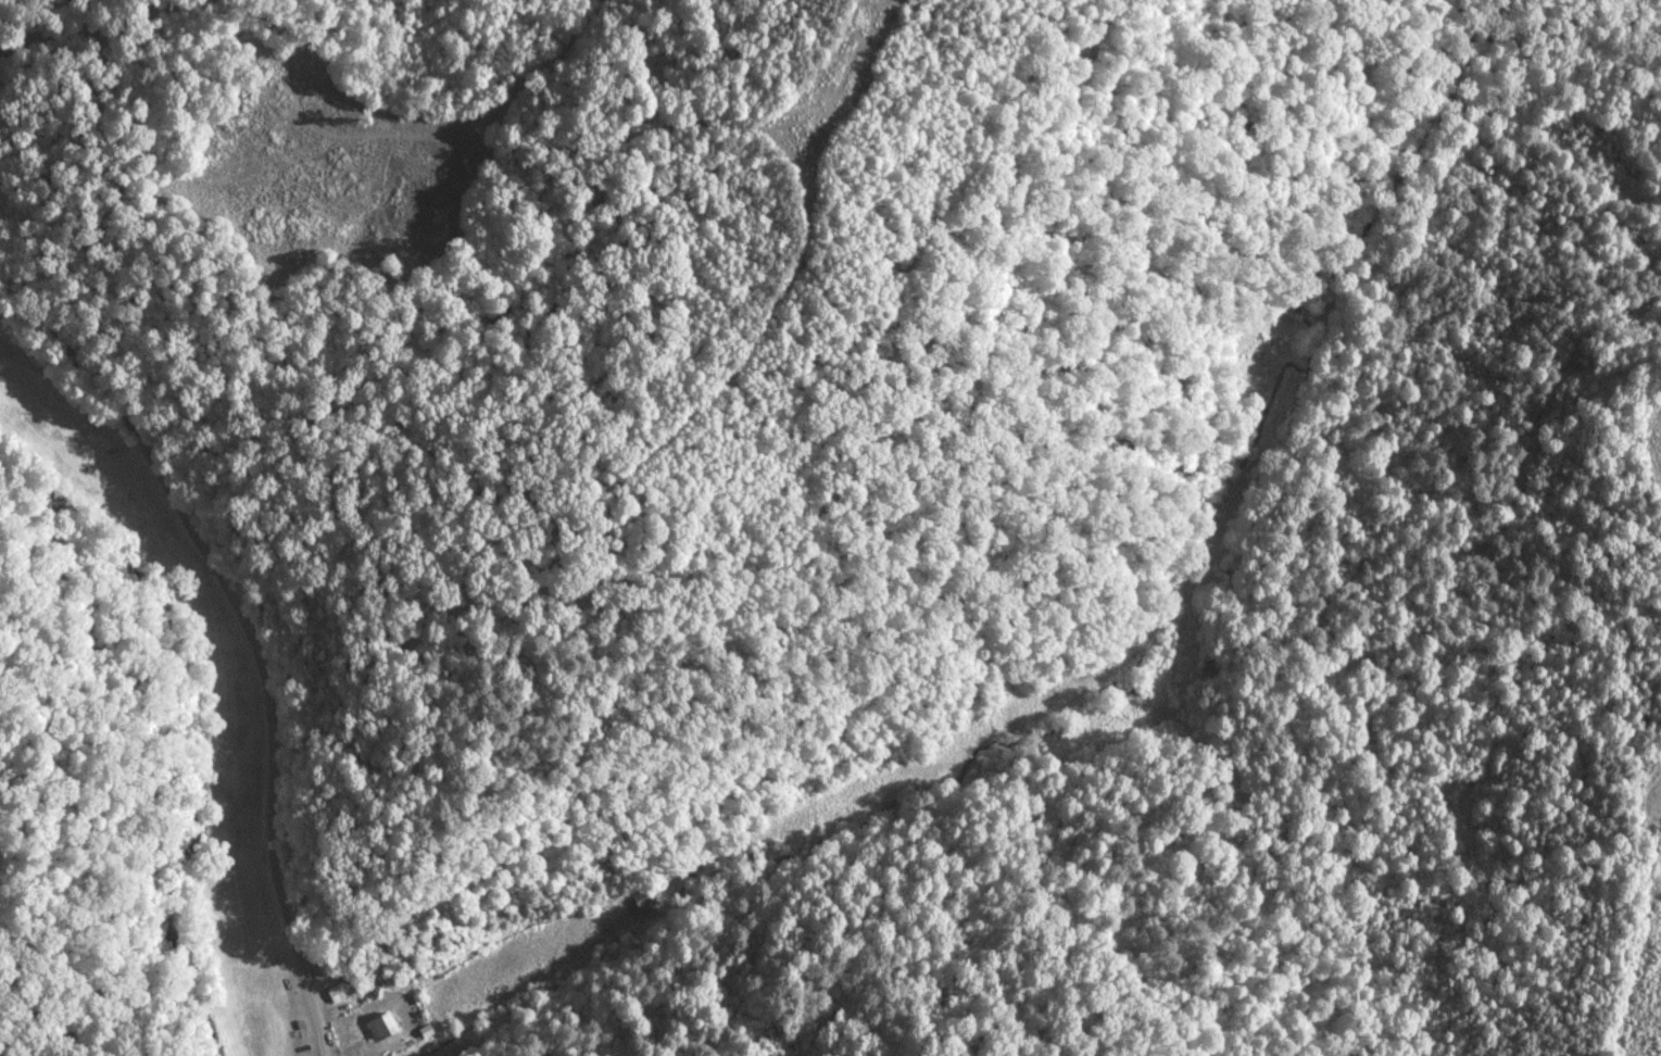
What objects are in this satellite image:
road: (223, 614)
building: (647, 904)
building: (341, 991)
building: (381, 1026)

